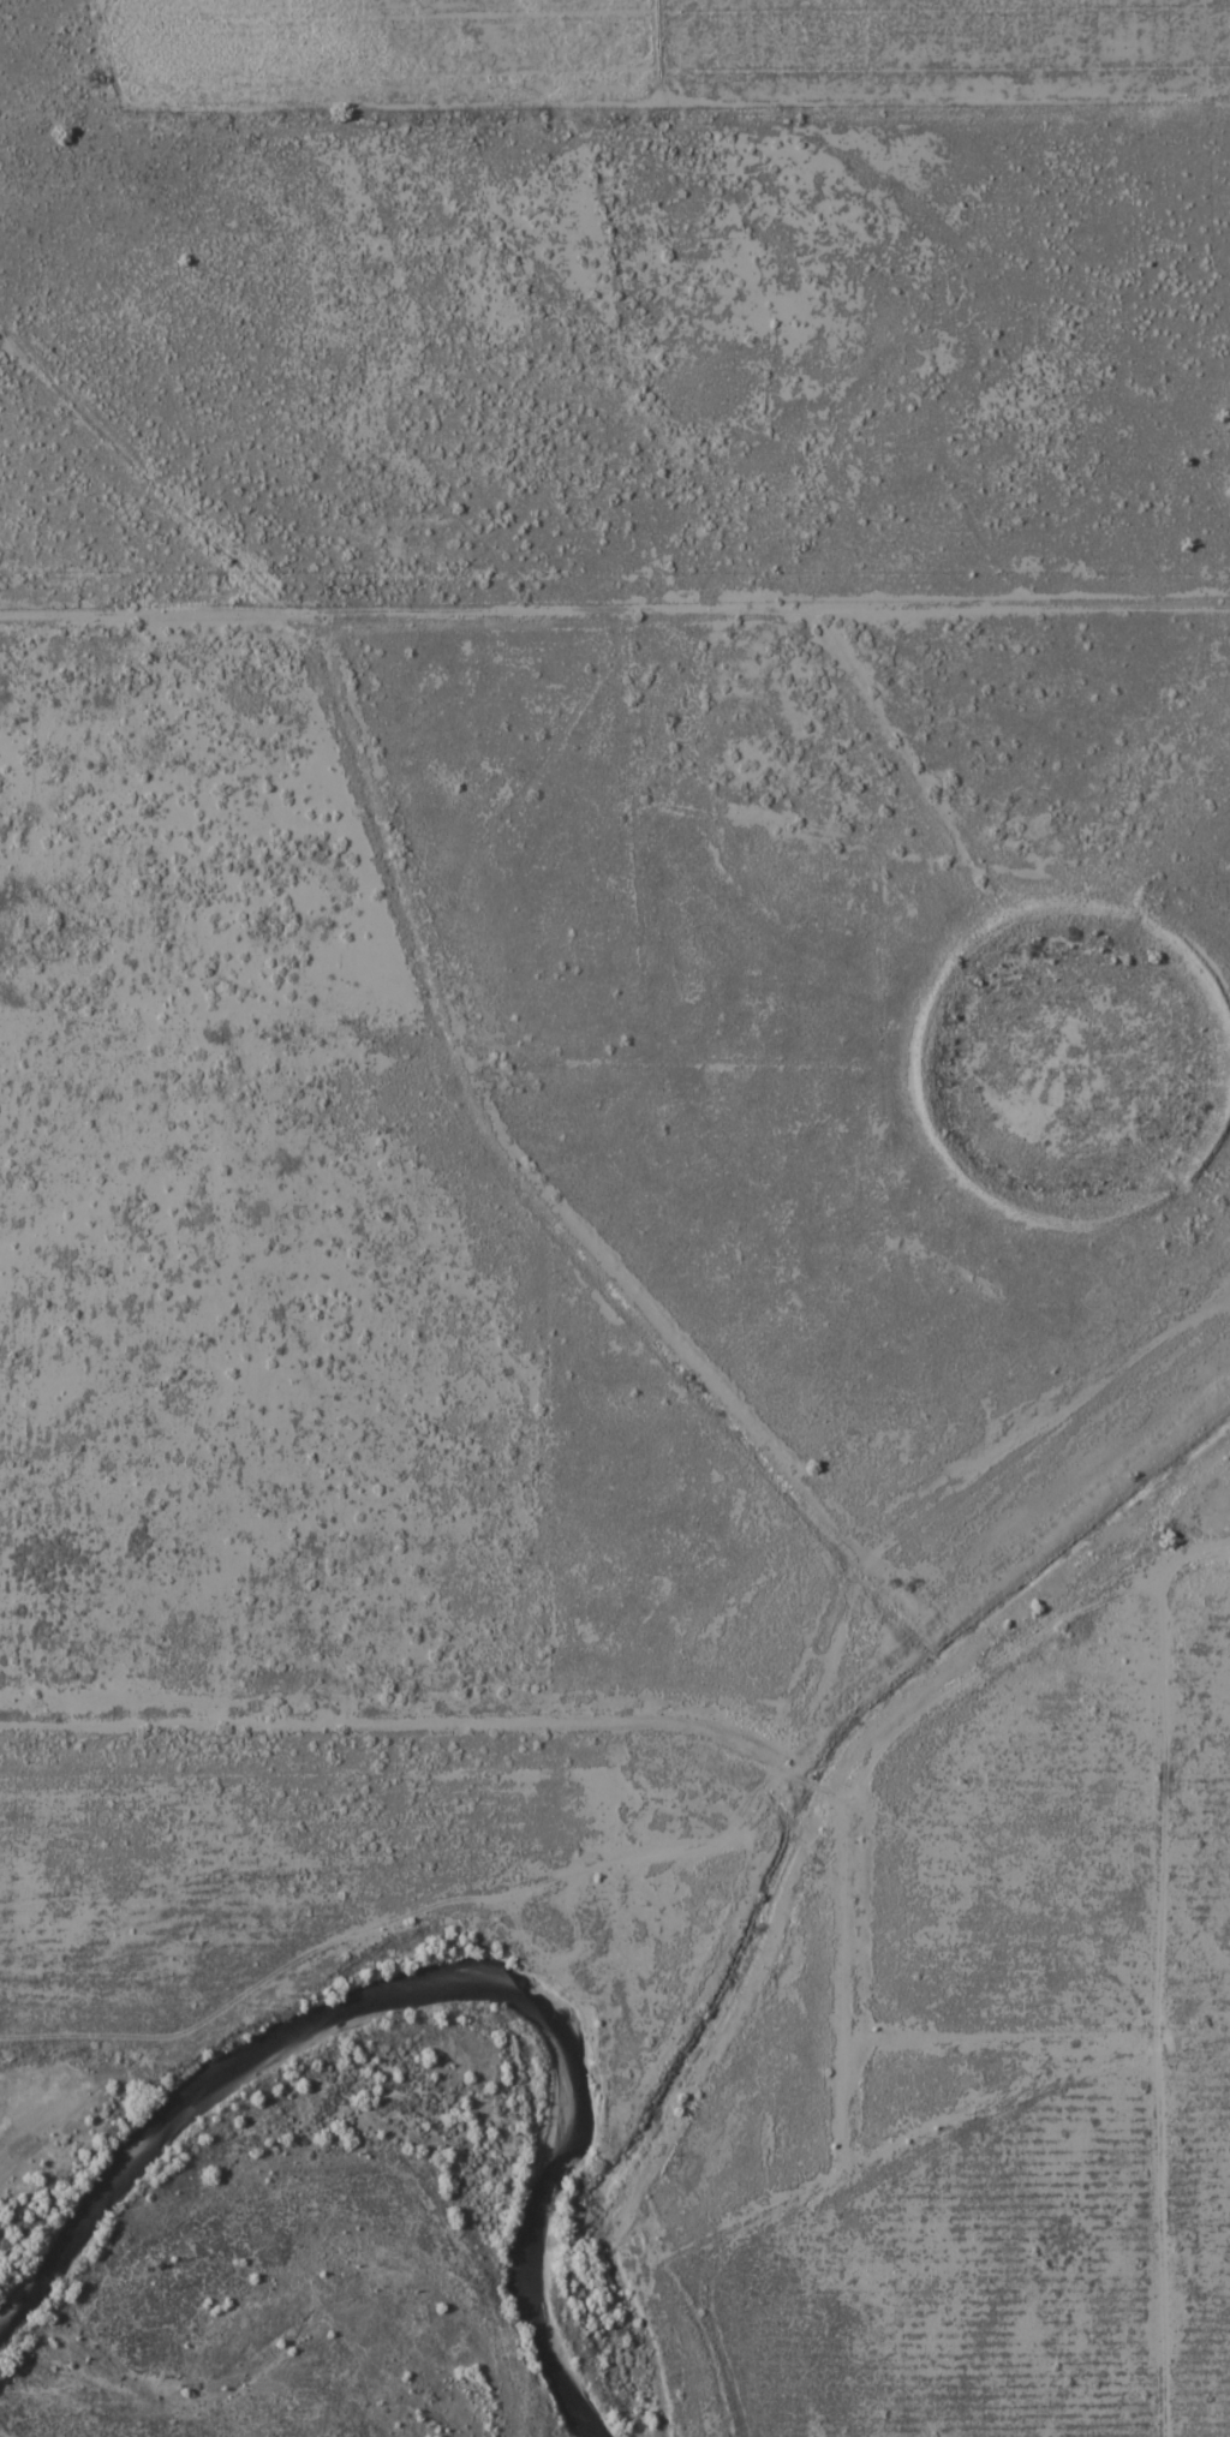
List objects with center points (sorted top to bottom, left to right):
river: (435, 1988)

